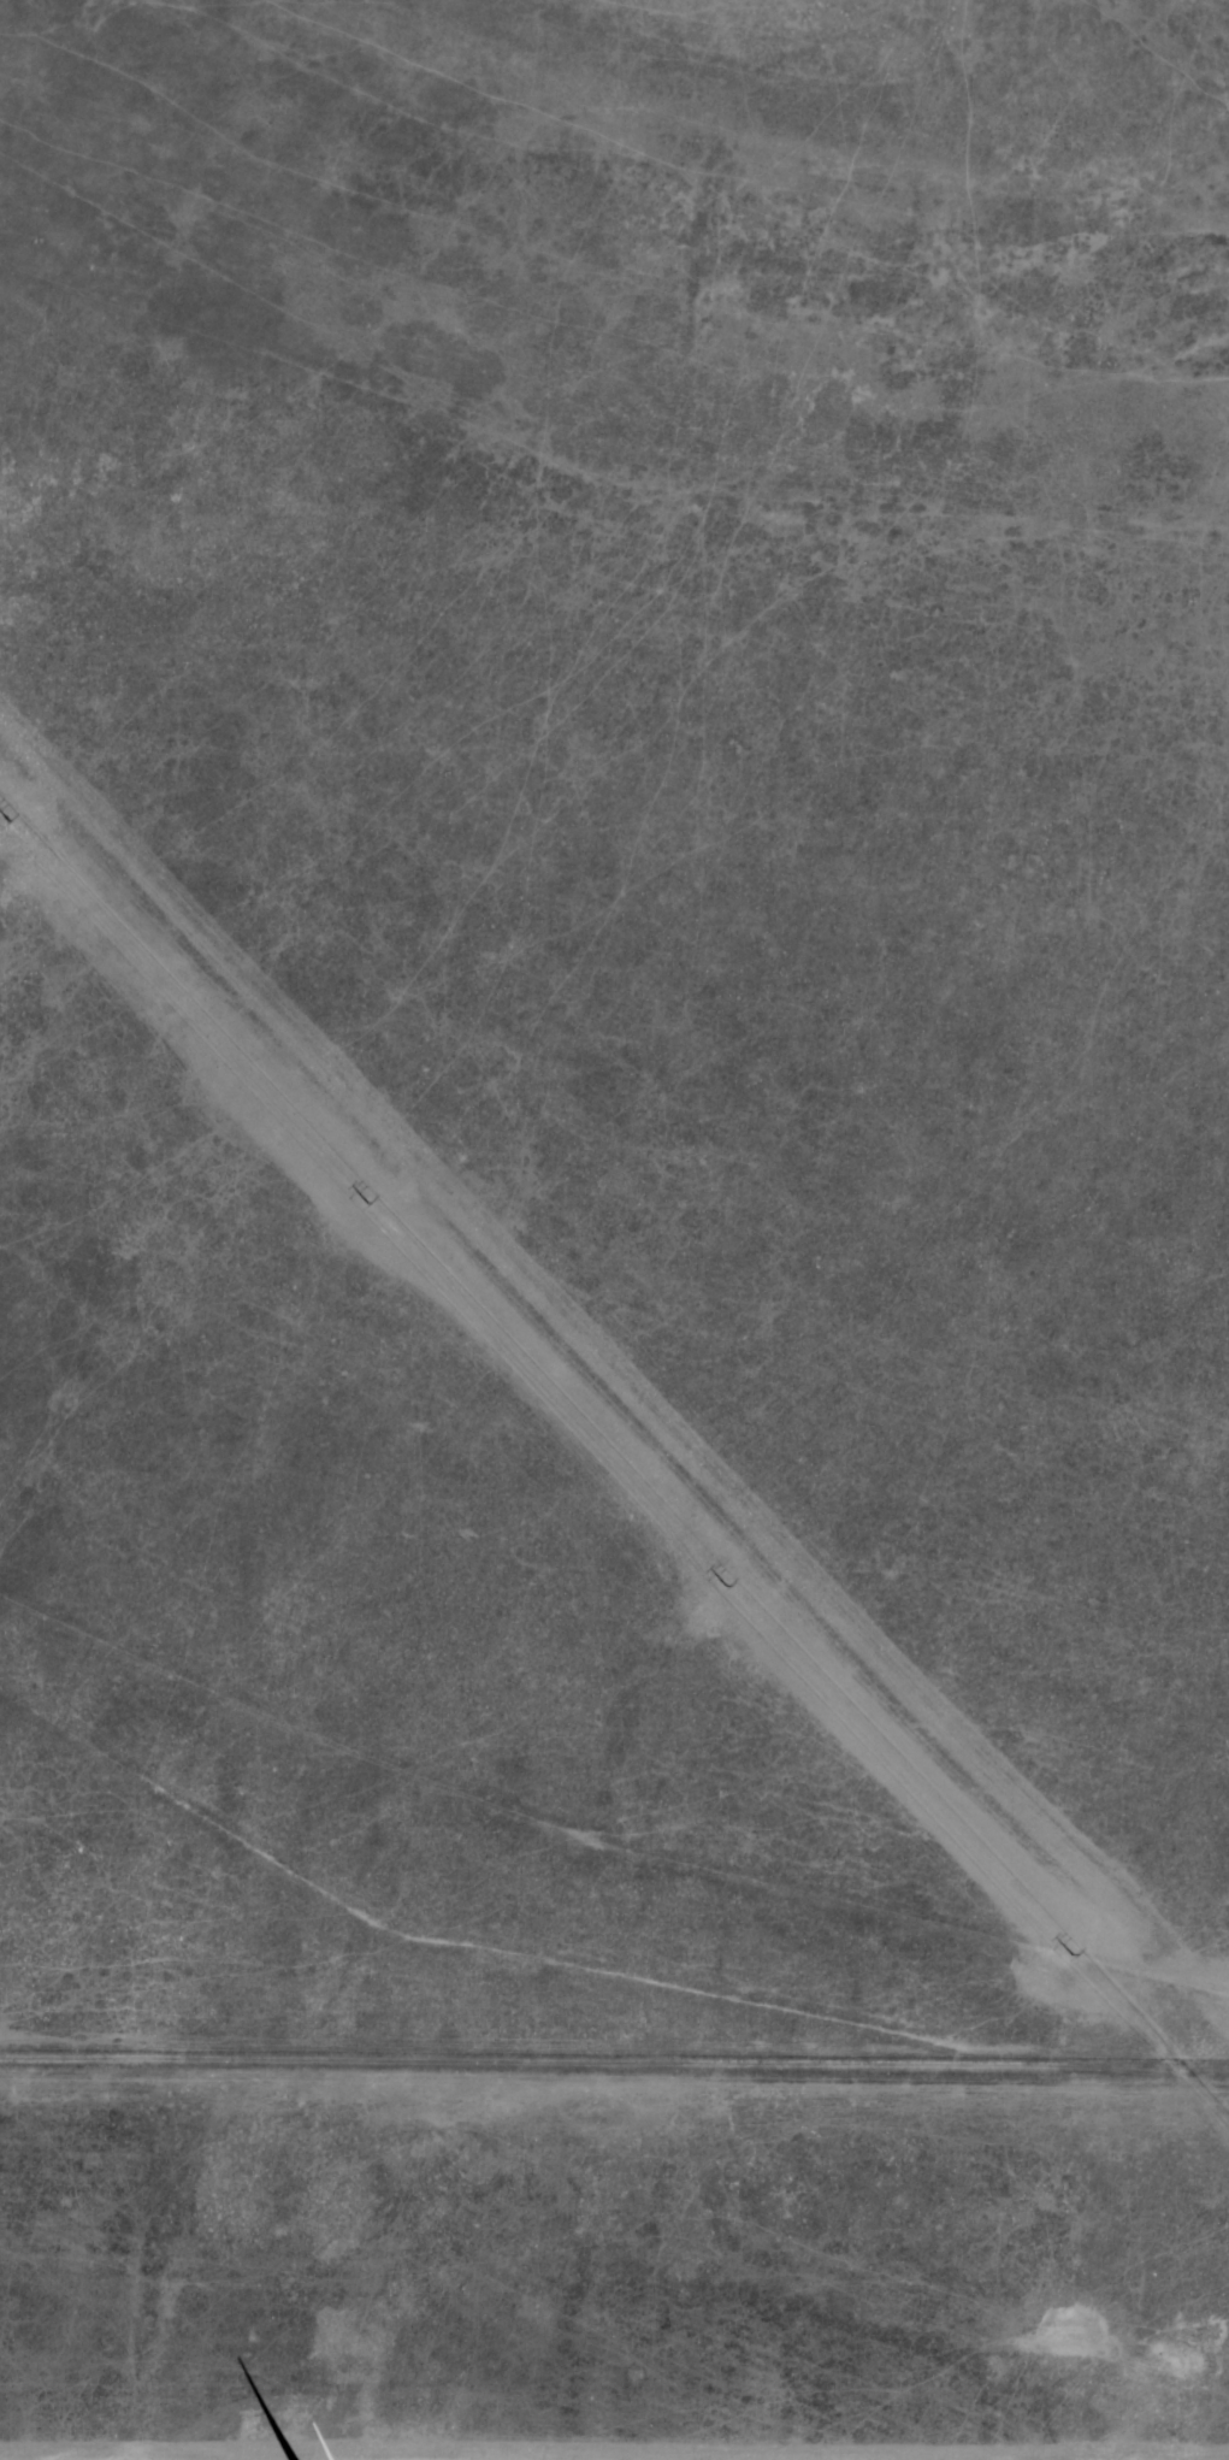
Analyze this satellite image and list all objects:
road: (614, 2067)

